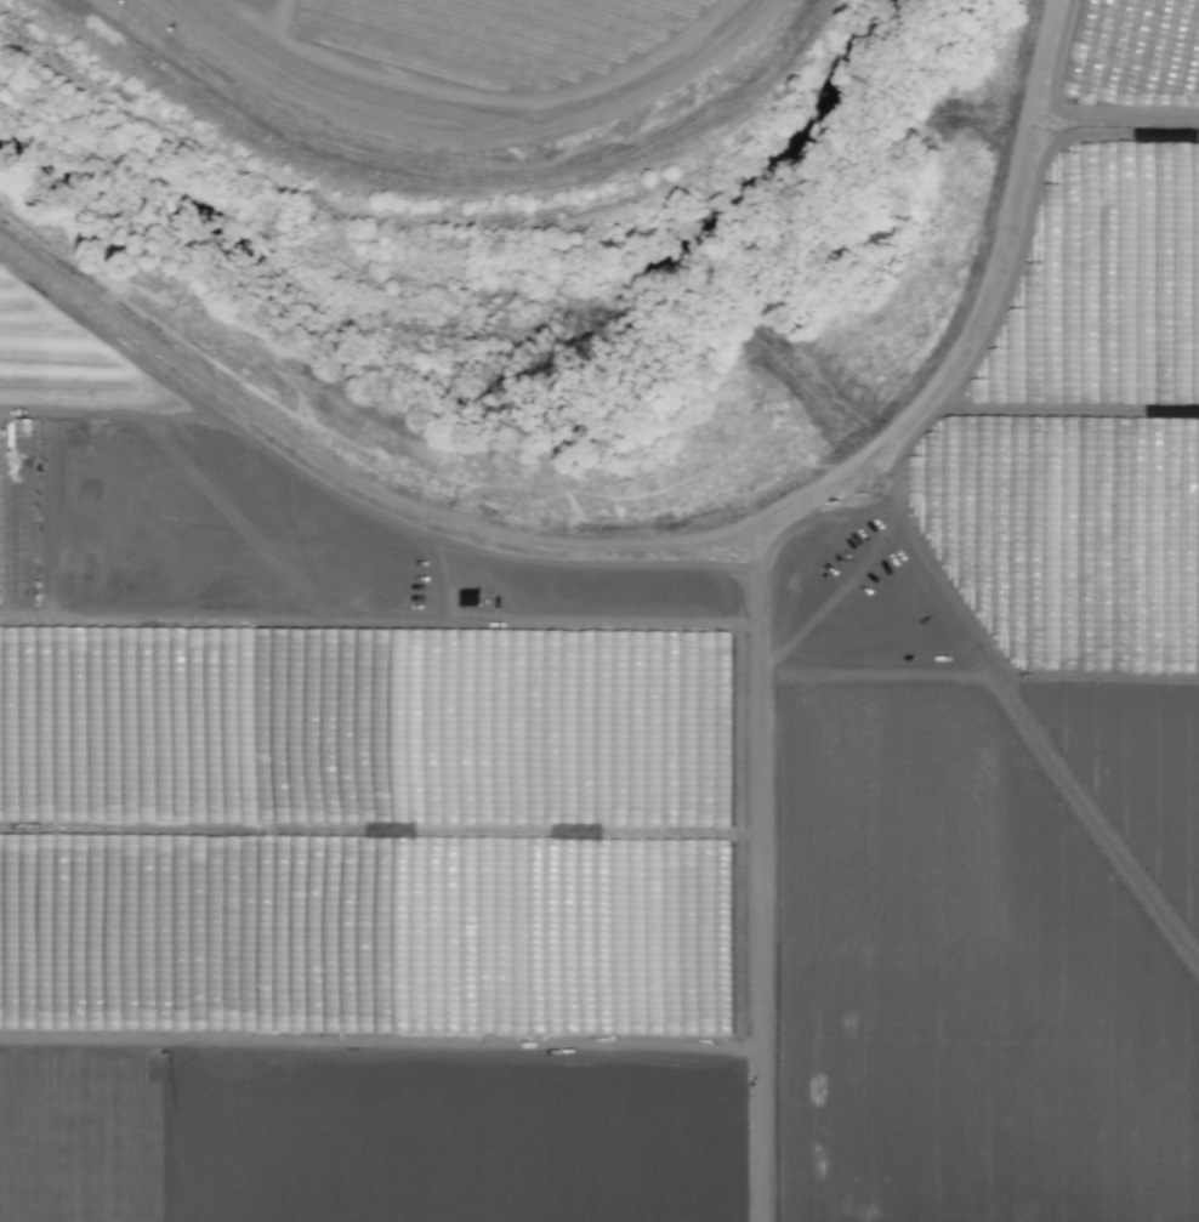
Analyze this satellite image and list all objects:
crop: (365, 1)
building: (23, 426)
river: (552, 445)
crop: (630, 788)

